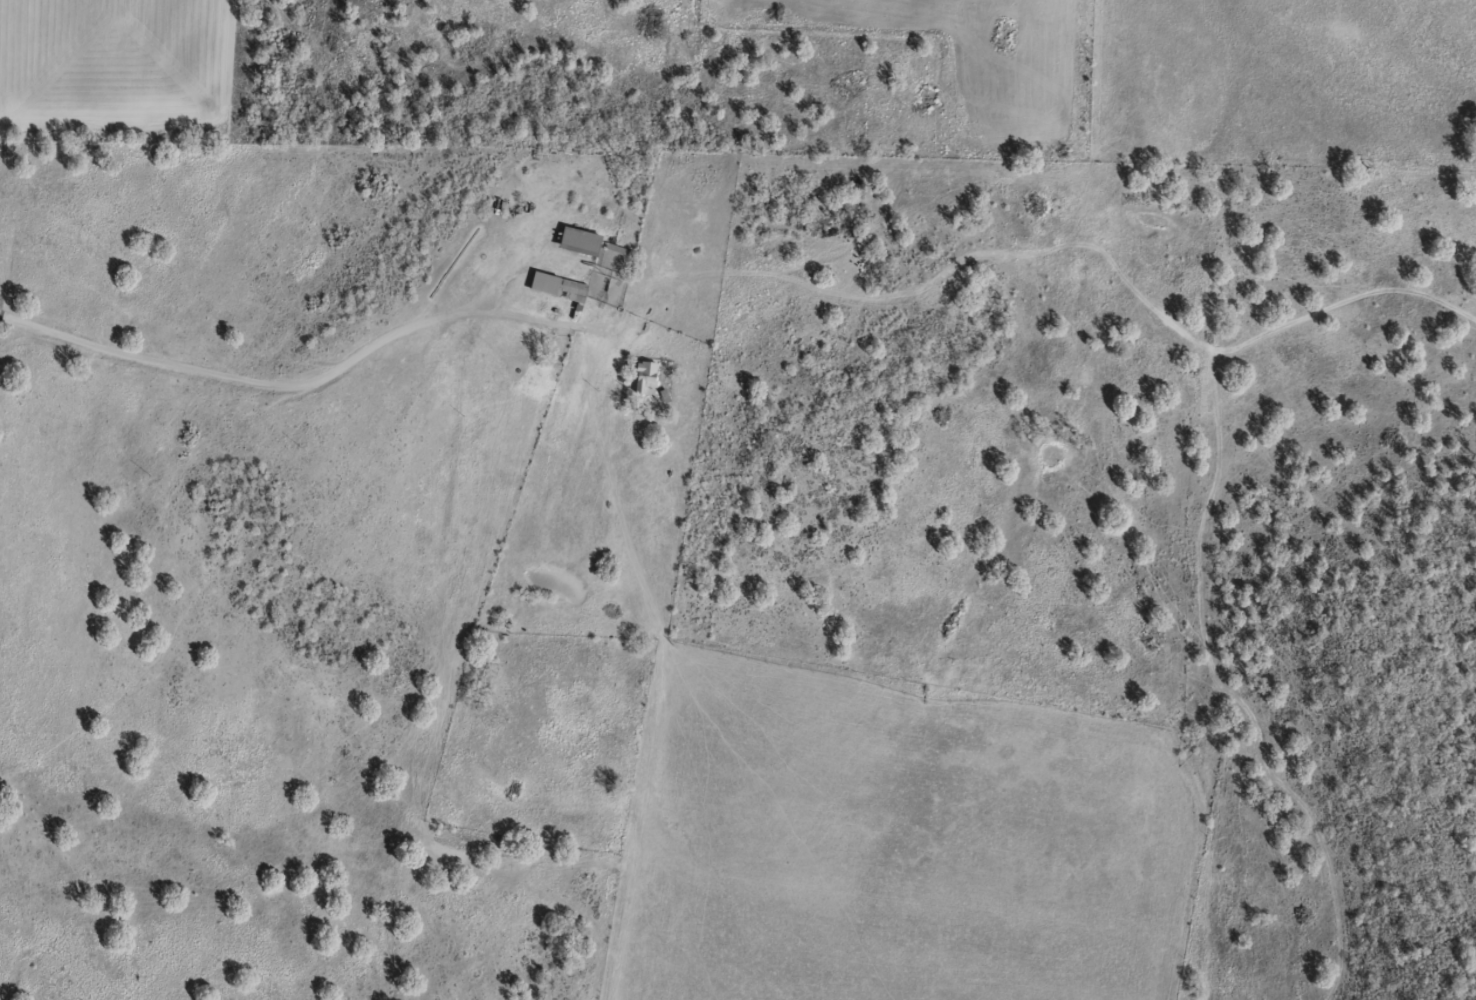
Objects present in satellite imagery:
road: (1, 57)
building: (581, 242)
road: (739, 281)
building: (558, 288)
road: (545, 345)
building: (644, 376)

